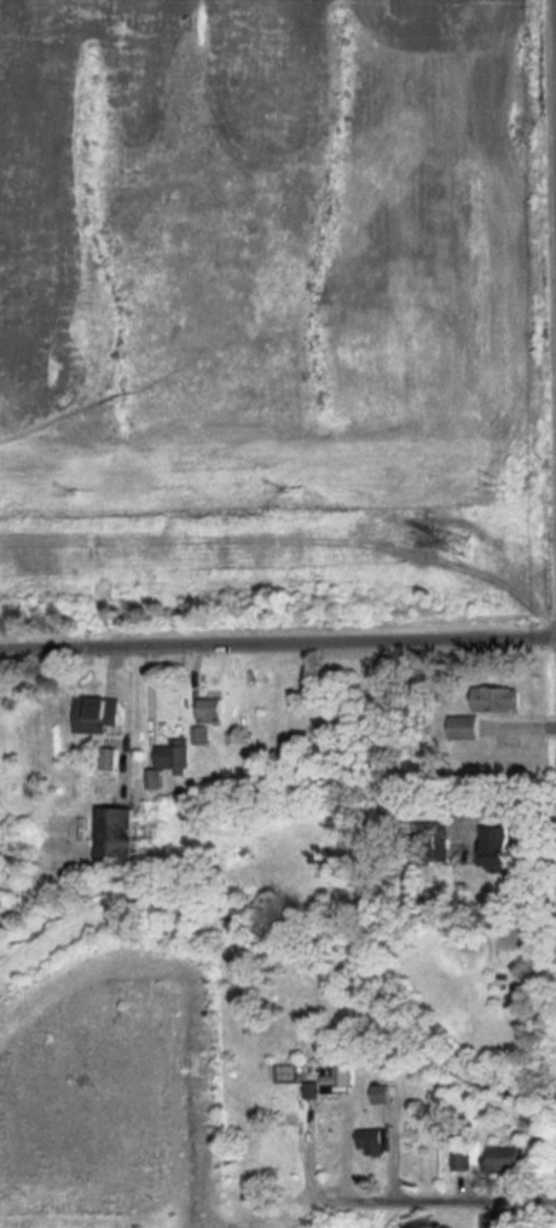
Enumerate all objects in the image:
power tower: (458, 541)
road: (278, 643)
building: (493, 696)
building: (209, 709)
building: (95, 714)
building: (461, 726)
building: (201, 734)
building: (111, 833)
building: (429, 841)
building: (494, 848)
building: (335, 1076)
road: (521, 1084)
building: (380, 1094)
building: (370, 1142)
building: (505, 1158)
building: (461, 1160)
road: (433, 1221)

